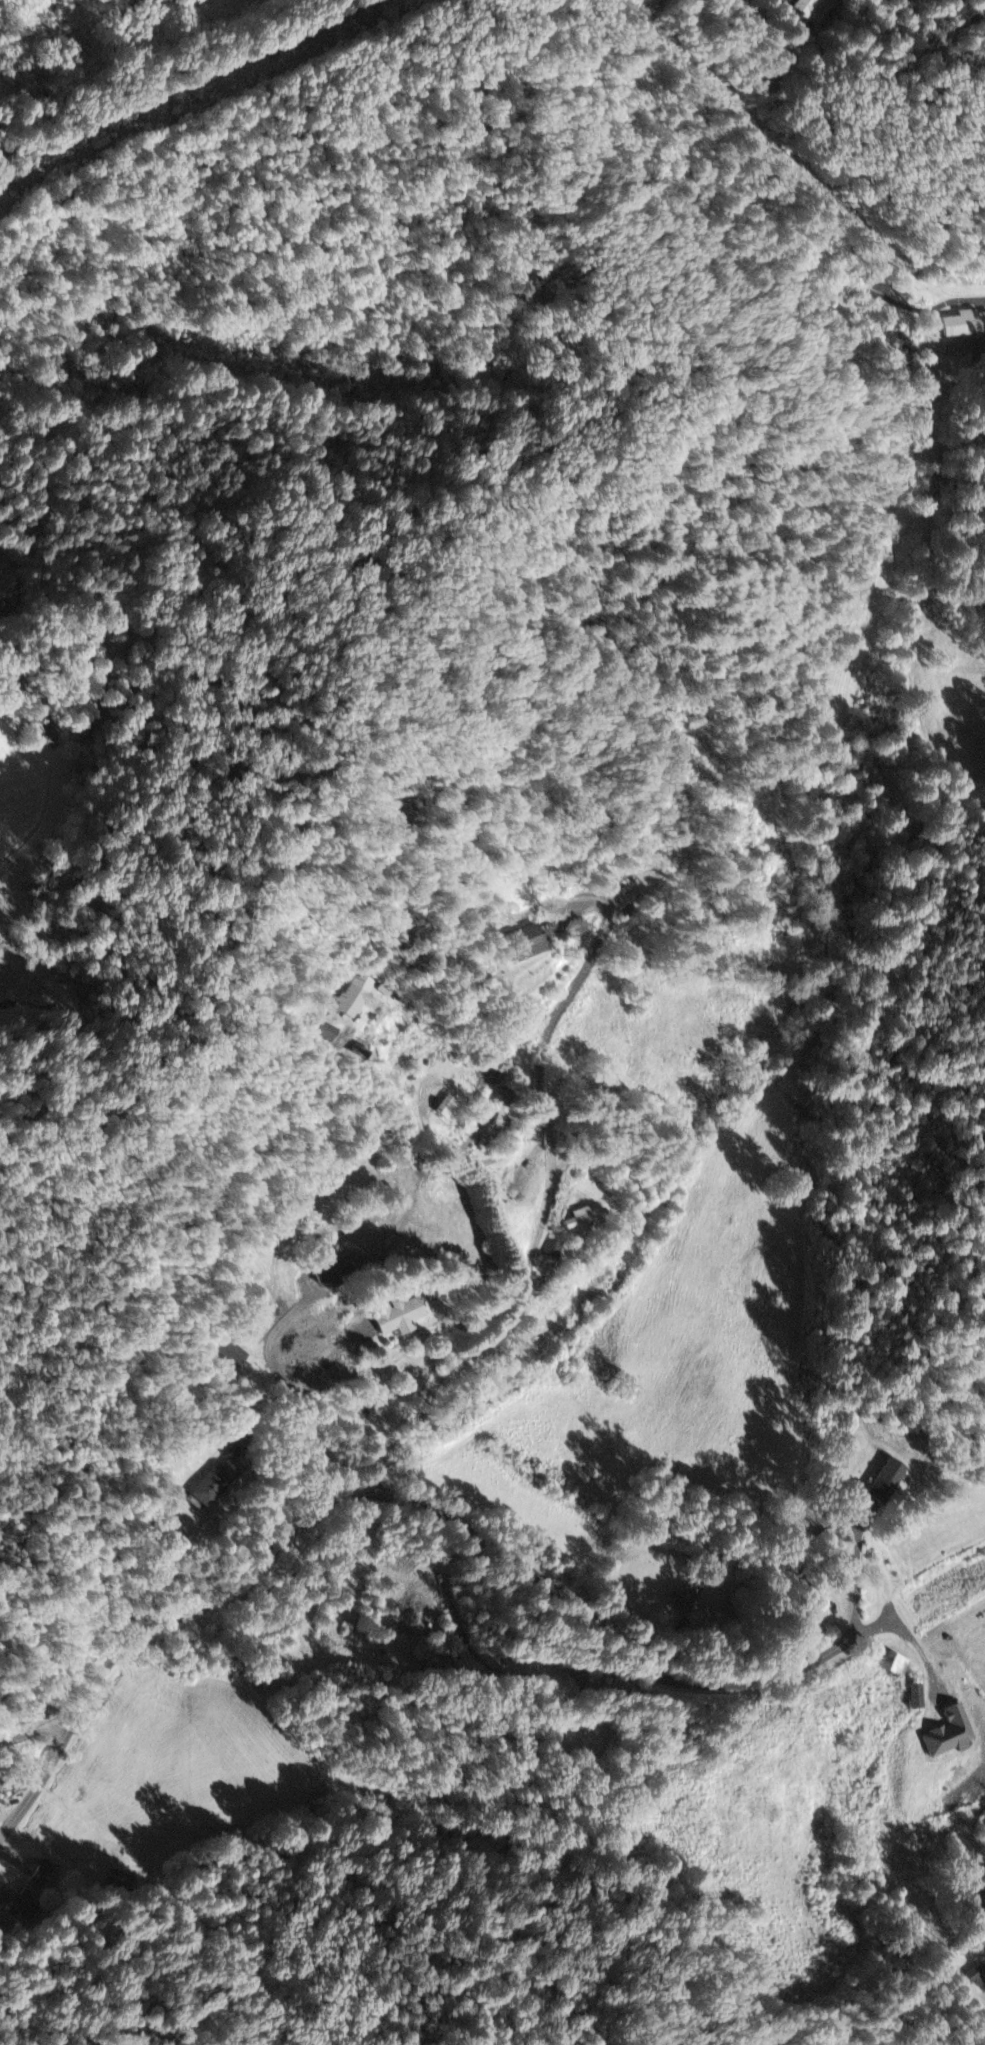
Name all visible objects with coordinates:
building: (963, 327)
building: (524, 944)
building: (356, 998)
building: (330, 1034)
building: (446, 1108)
building: (584, 1219)
building: (553, 1251)
road: (533, 1254)
building: (335, 1271)
building: (397, 1316)
building: (236, 1355)
building: (885, 1483)
building: (215, 1484)
road: (444, 1509)
road: (848, 1579)
building: (681, 1600)
building: (893, 1666)
building: (914, 1698)
building: (948, 1734)
building: (42, 1874)
building: (14, 1903)
building: (973, 1979)

